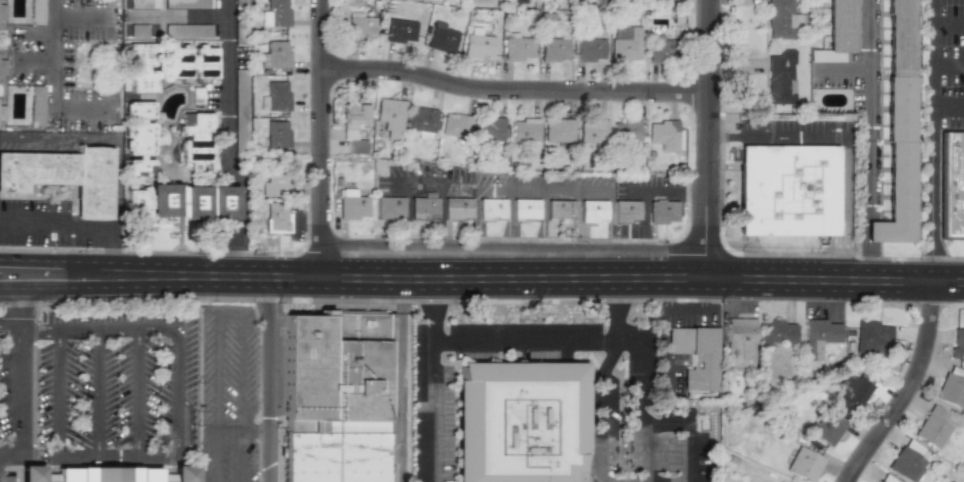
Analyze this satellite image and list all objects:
building: (2, 11)
building: (37, 12)
building: (276, 14)
road: (79, 15)
road: (177, 16)
building: (780, 19)
building: (360, 26)
road: (948, 26)
building: (401, 31)
building: (837, 32)
building: (442, 38)
building: (478, 44)
building: (625, 44)
building: (518, 48)
building: (554, 49)
building: (590, 49)
building: (661, 49)
building: (276, 55)
road: (51, 56)
road: (32, 60)
parking lot: (29, 62)
building: (193, 62)
park: (97, 64)
road: (948, 64)
parking lot: (65, 65)
building: (2, 67)
building: (141, 68)
building: (780, 78)
road: (511, 92)
building: (277, 96)
building: (38, 106)
road: (948, 108)
road: (80, 112)
building: (2, 113)
building: (390, 117)
building: (421, 119)
building: (456, 125)
building: (353, 126)
building: (898, 127)
building: (490, 128)
building: (525, 130)
building: (558, 130)
building: (593, 131)
building: (625, 131)
building: (277, 134)
building: (137, 137)
building: (195, 137)
road: (320, 137)
road: (844, 137)
road: (704, 138)
road: (870, 140)
road: (933, 140)
road: (226, 144)
building: (65, 176)
building: (276, 182)
building: (953, 184)
building: (787, 190)
building: (181, 202)
building: (352, 204)
building: (389, 207)
building: (423, 207)
building: (457, 208)
building: (558, 208)
building: (491, 209)
building: (525, 209)
building: (593, 210)
building: (625, 211)
building: (662, 211)
road: (80, 222)
road: (510, 247)
road: (31, 259)
road: (87, 265)
road: (538, 275)
road: (57, 287)
road: (429, 307)
road: (690, 312)
road: (230, 320)
road: (115, 327)
road: (36, 330)
road: (9, 331)
building: (776, 331)
road: (664, 336)
building: (818, 336)
building: (871, 337)
road: (485, 339)
building: (741, 343)
building: (957, 343)
road: (638, 355)
building: (696, 355)
road: (268, 378)
road: (19, 383)
road: (902, 388)
building: (951, 390)
road: (176, 391)
road: (97, 392)
road: (137, 392)
building: (850, 392)
road: (54, 393)
building: (335, 397)
building: (519, 421)
building: (934, 426)
building: (826, 427)
road: (243, 432)
road: (648, 454)
road: (98, 457)
building: (907, 460)
building: (804, 464)
building: (106, 474)
building: (886, 479)

